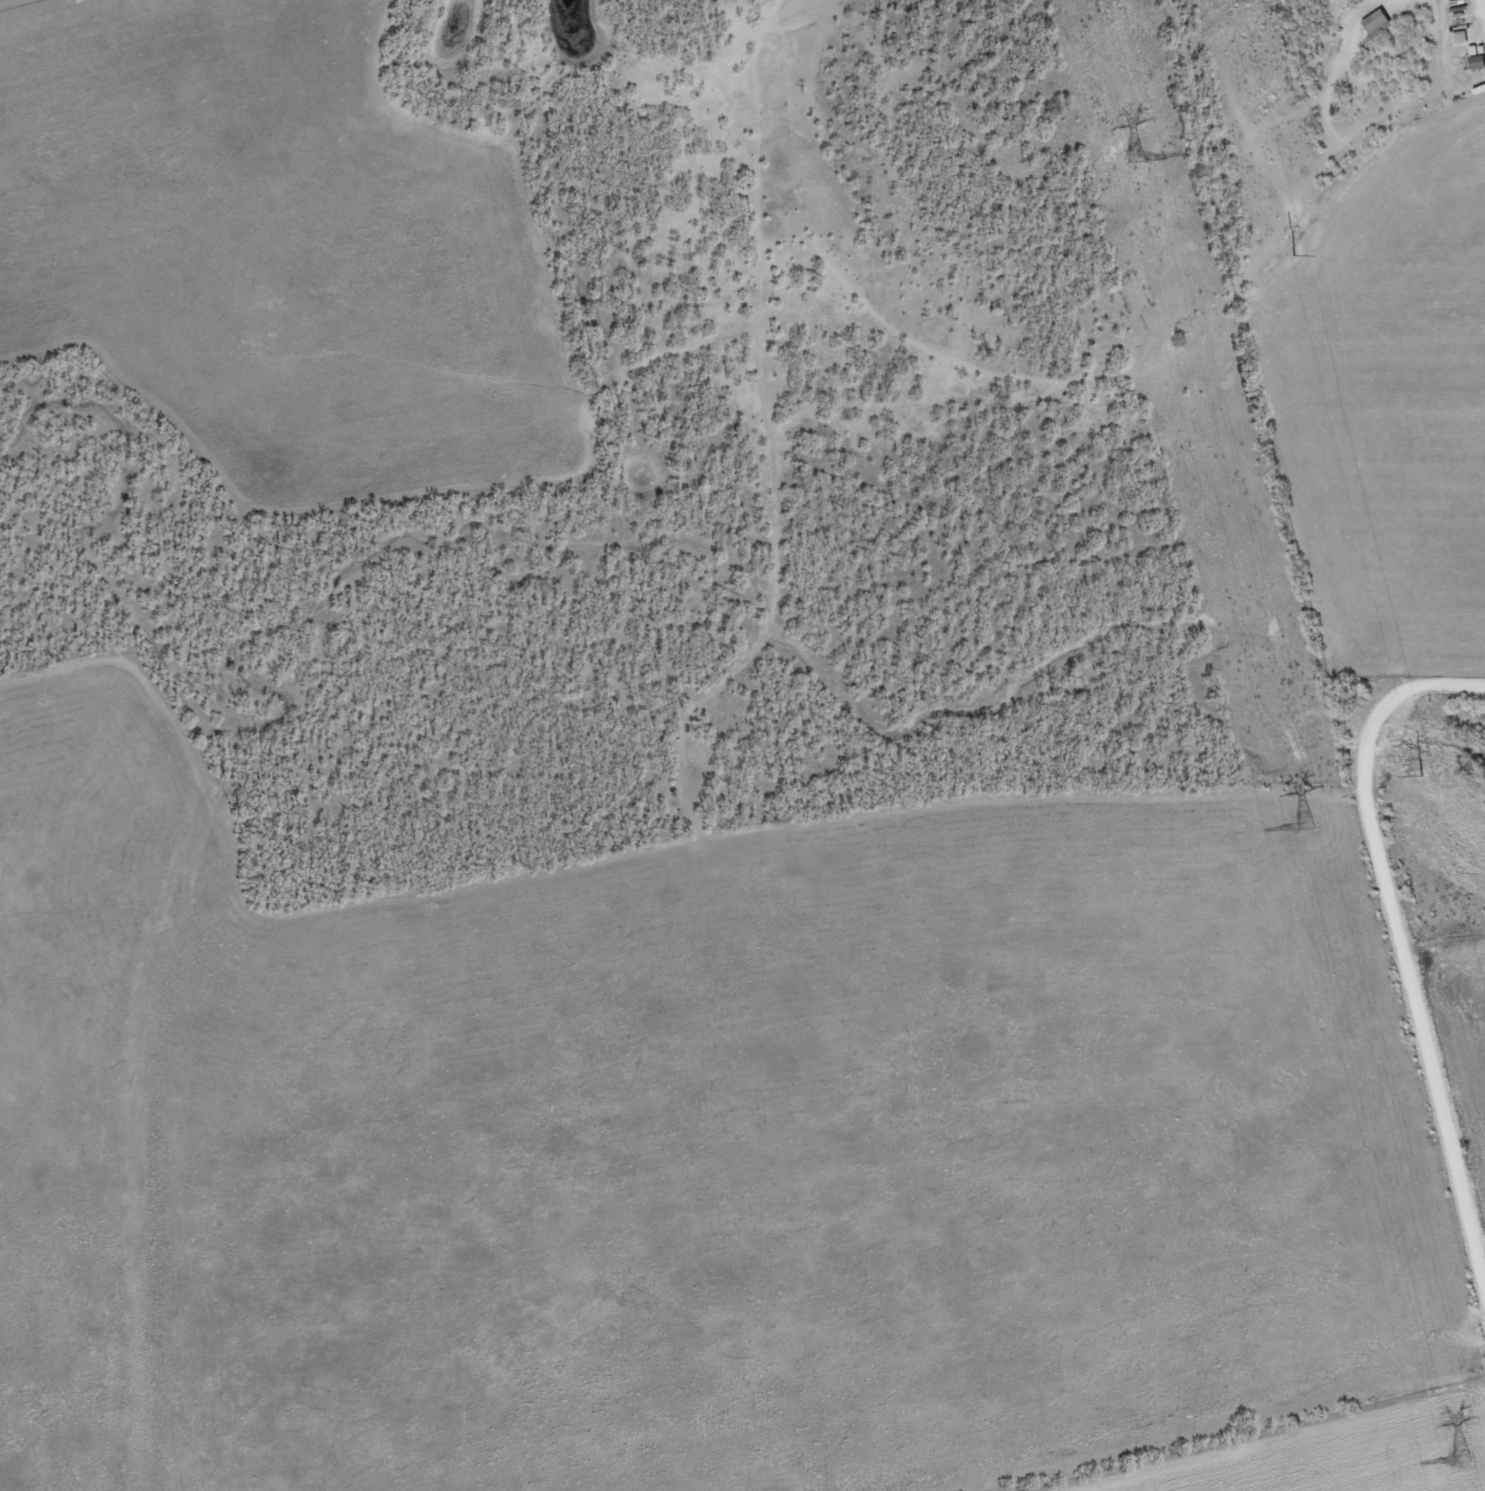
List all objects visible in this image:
building: (1380, 24)
building: (1479, 64)
power tower: (1135, 156)
power tower: (1296, 256)
power tower: (1424, 777)
power tower: (1304, 826)
road: (1395, 951)
power tower: (1461, 1460)

